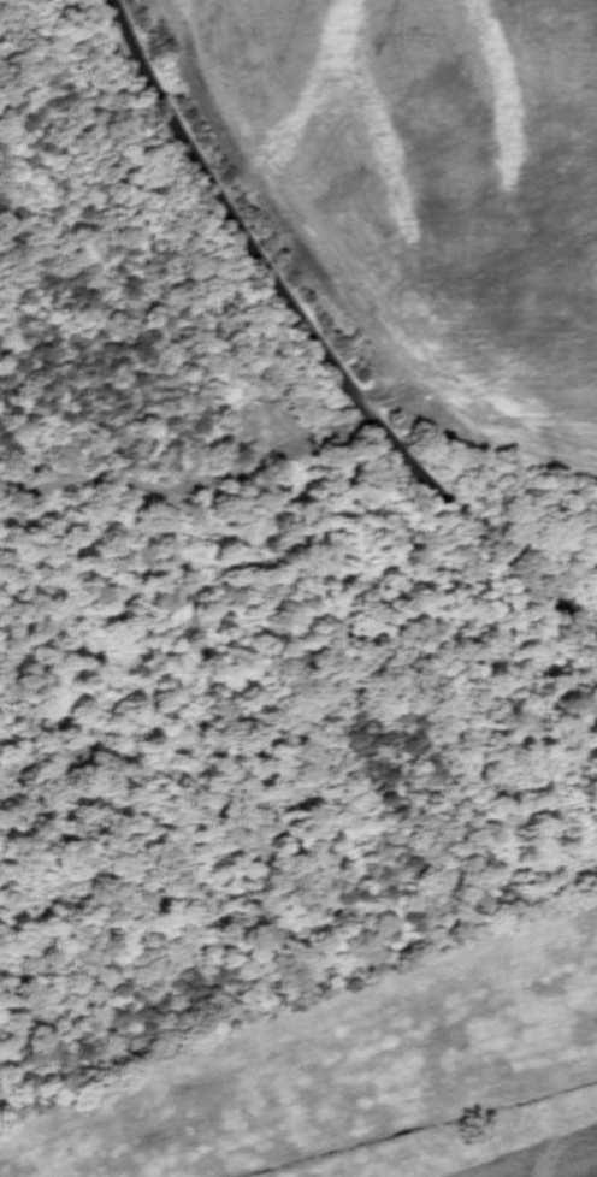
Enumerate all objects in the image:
road: (320, 347)

